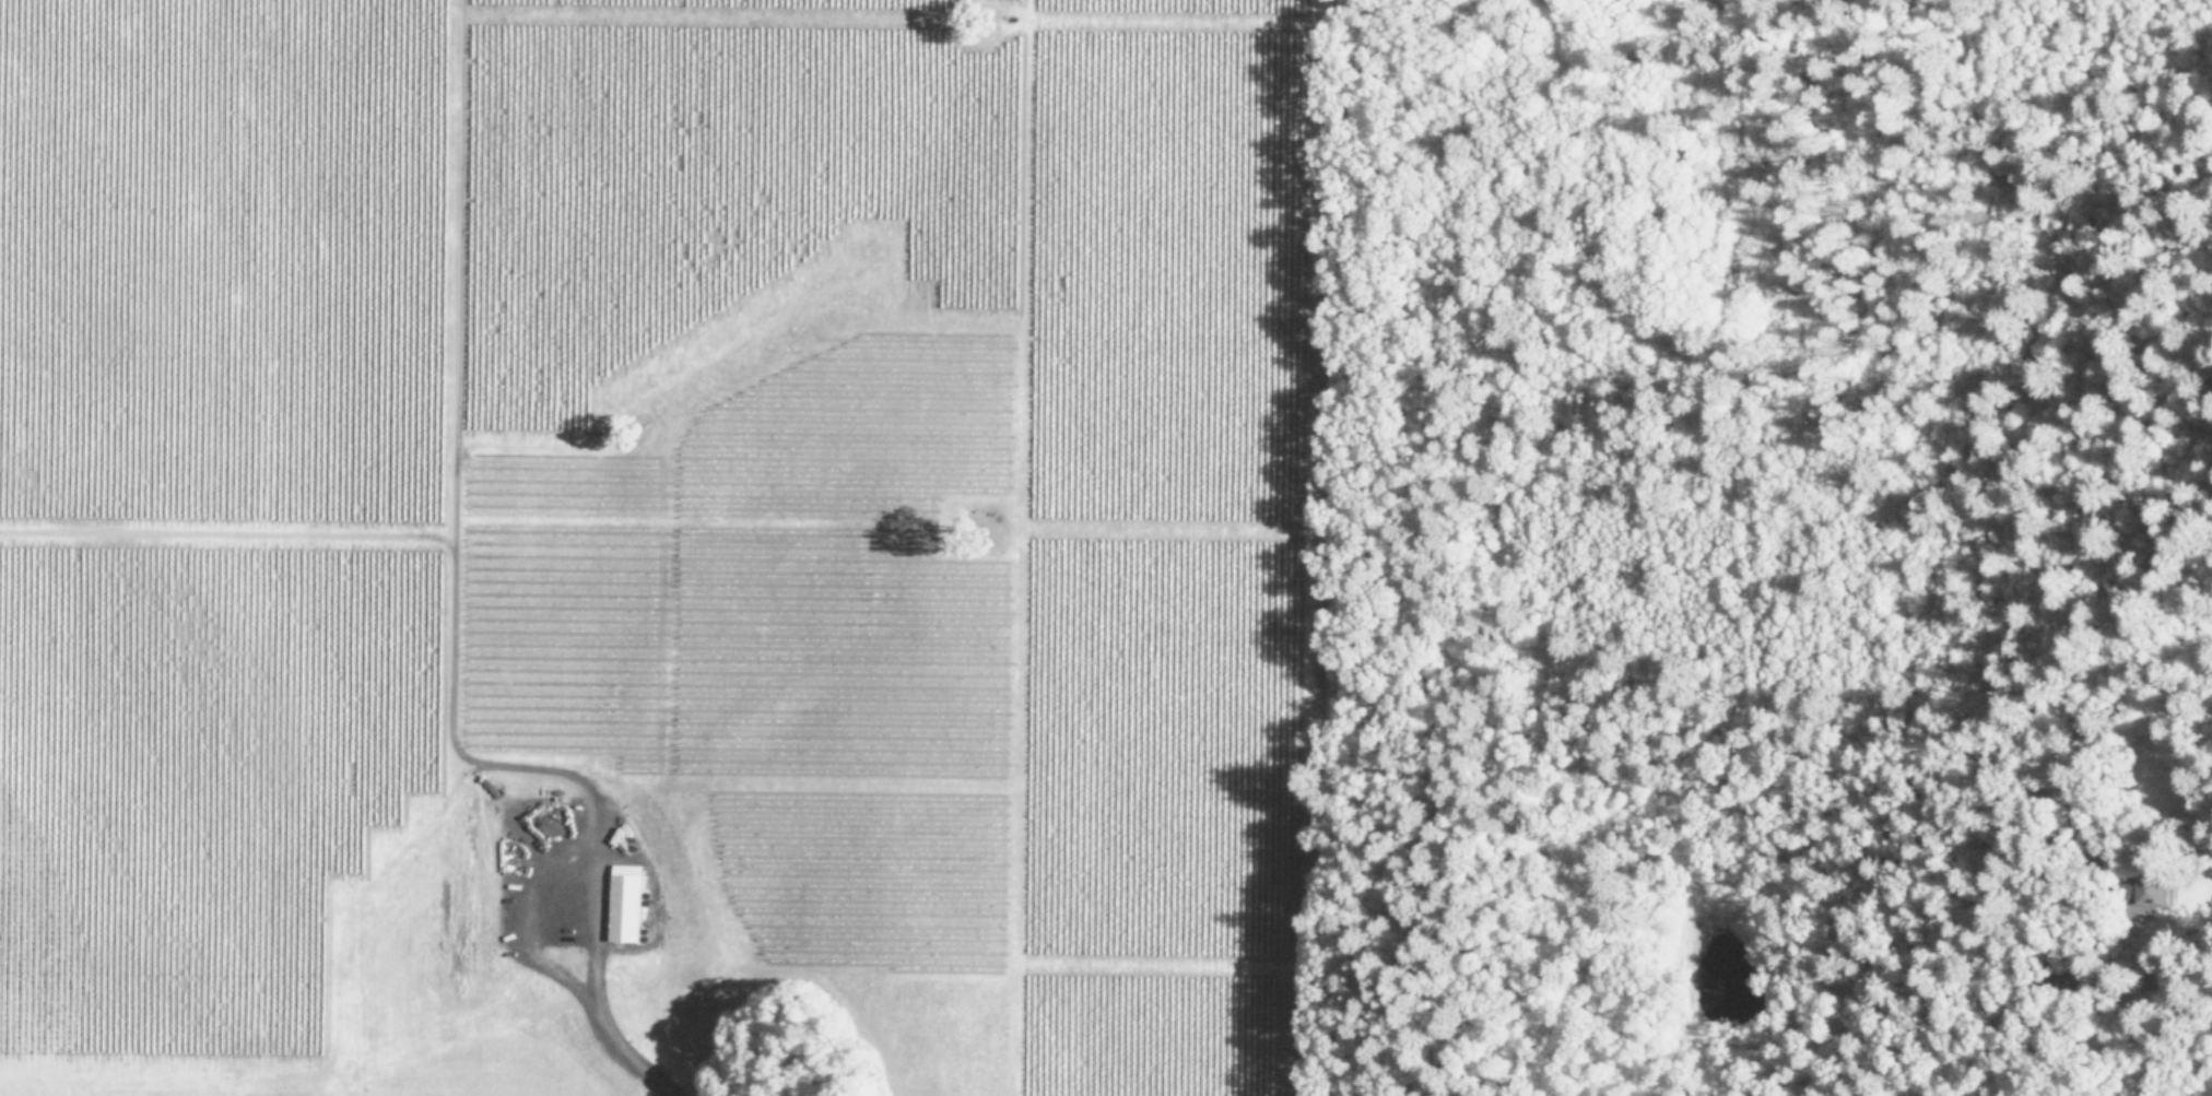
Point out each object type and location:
road: (540, 930)
road: (626, 1056)

